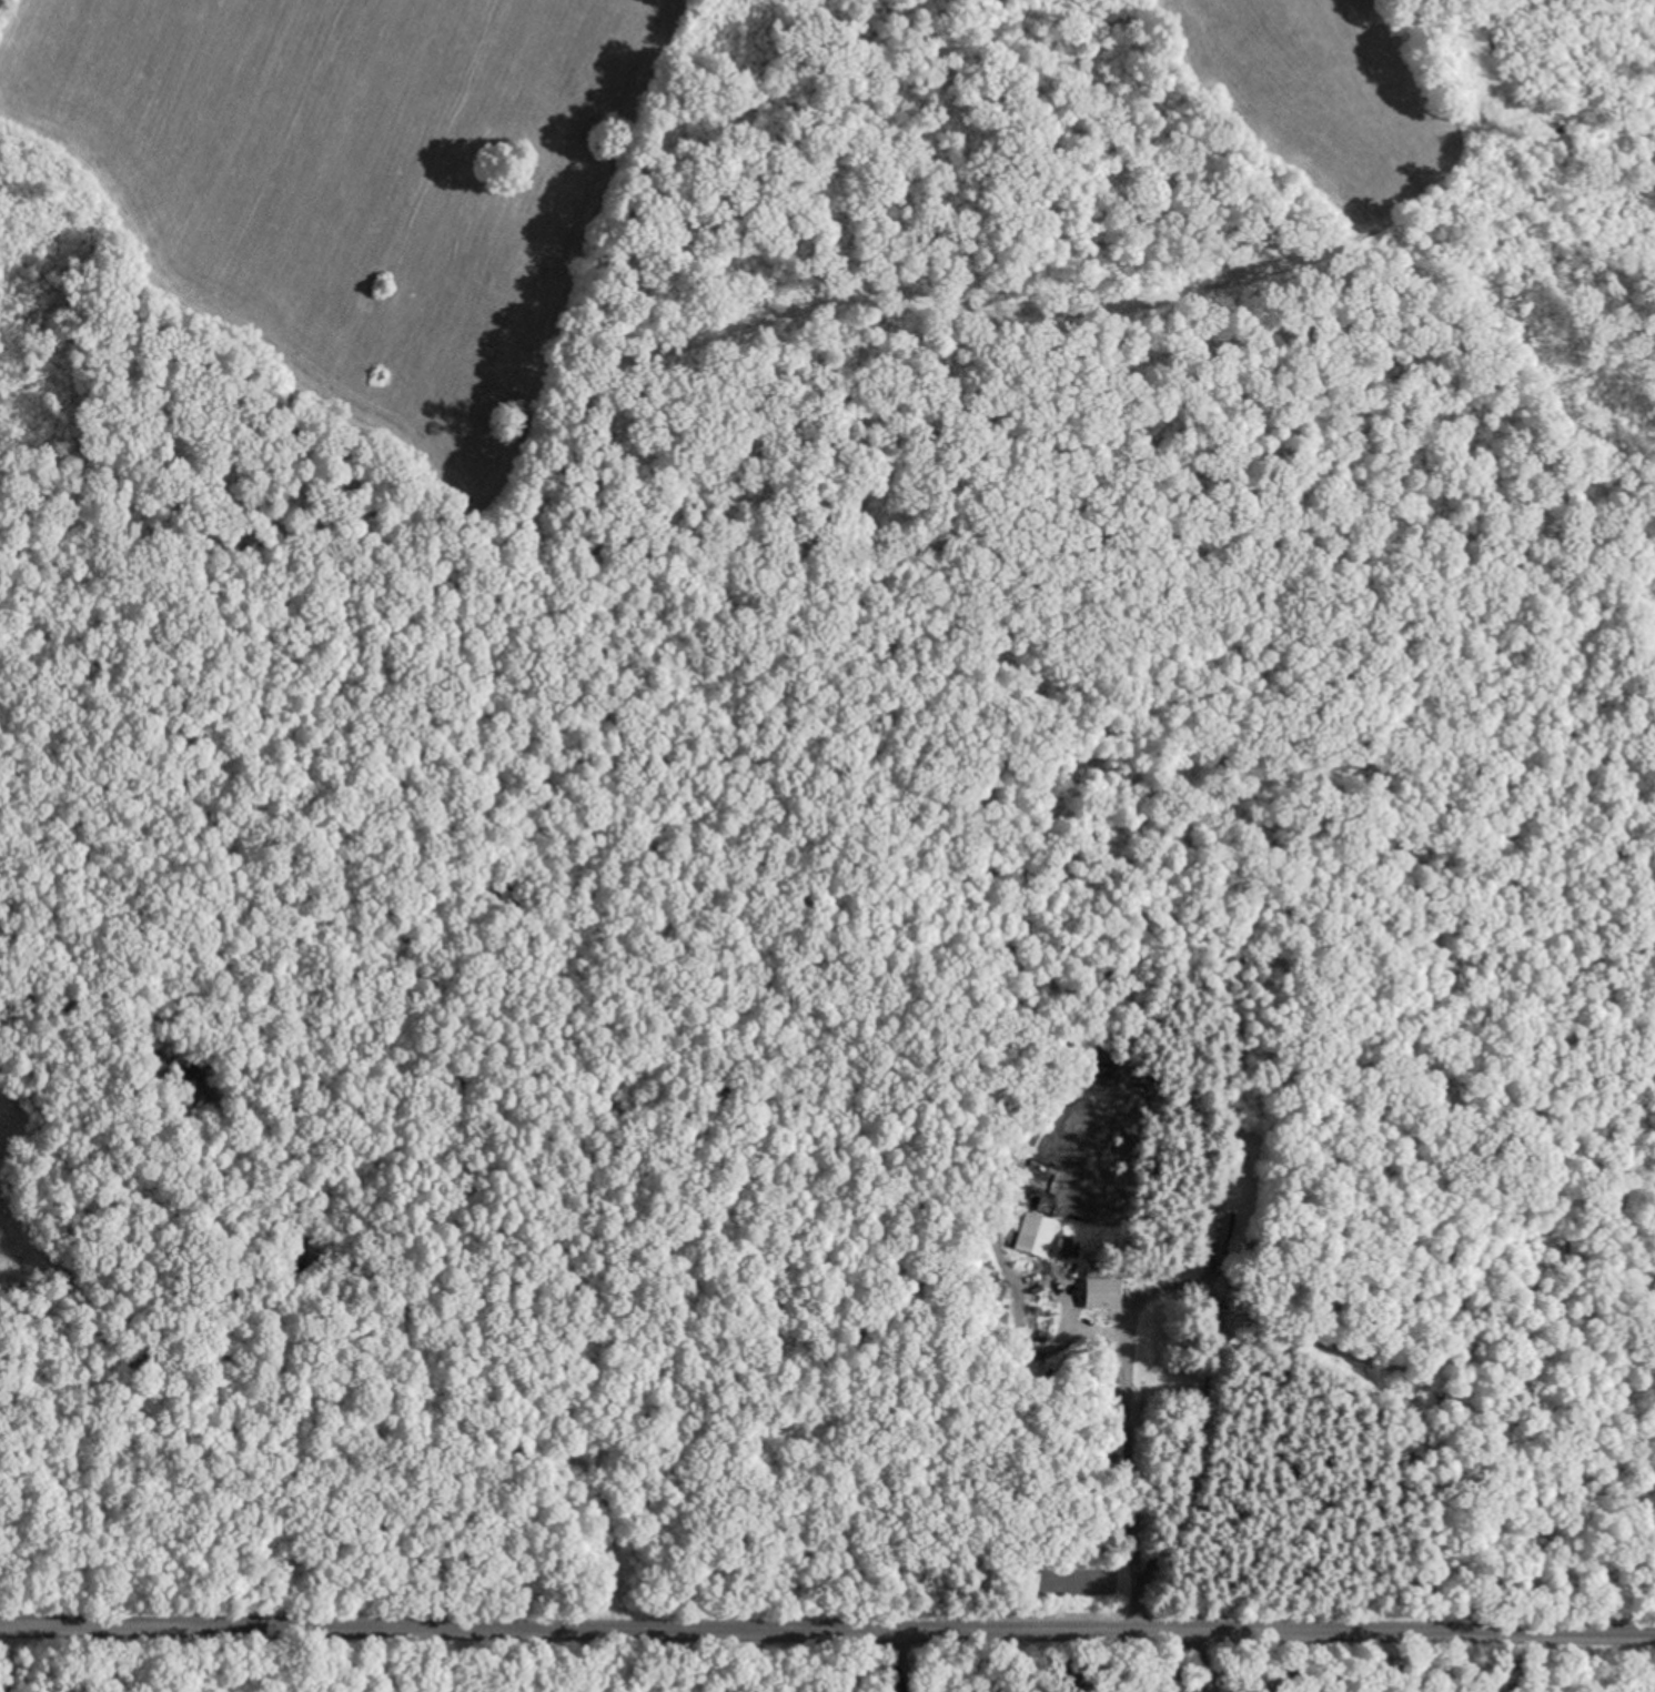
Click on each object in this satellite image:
building: (1218, 1233)
building: (1037, 1237)
building: (1069, 1245)
building: (1110, 1273)
road: (827, 1634)
road: (10, 1660)

